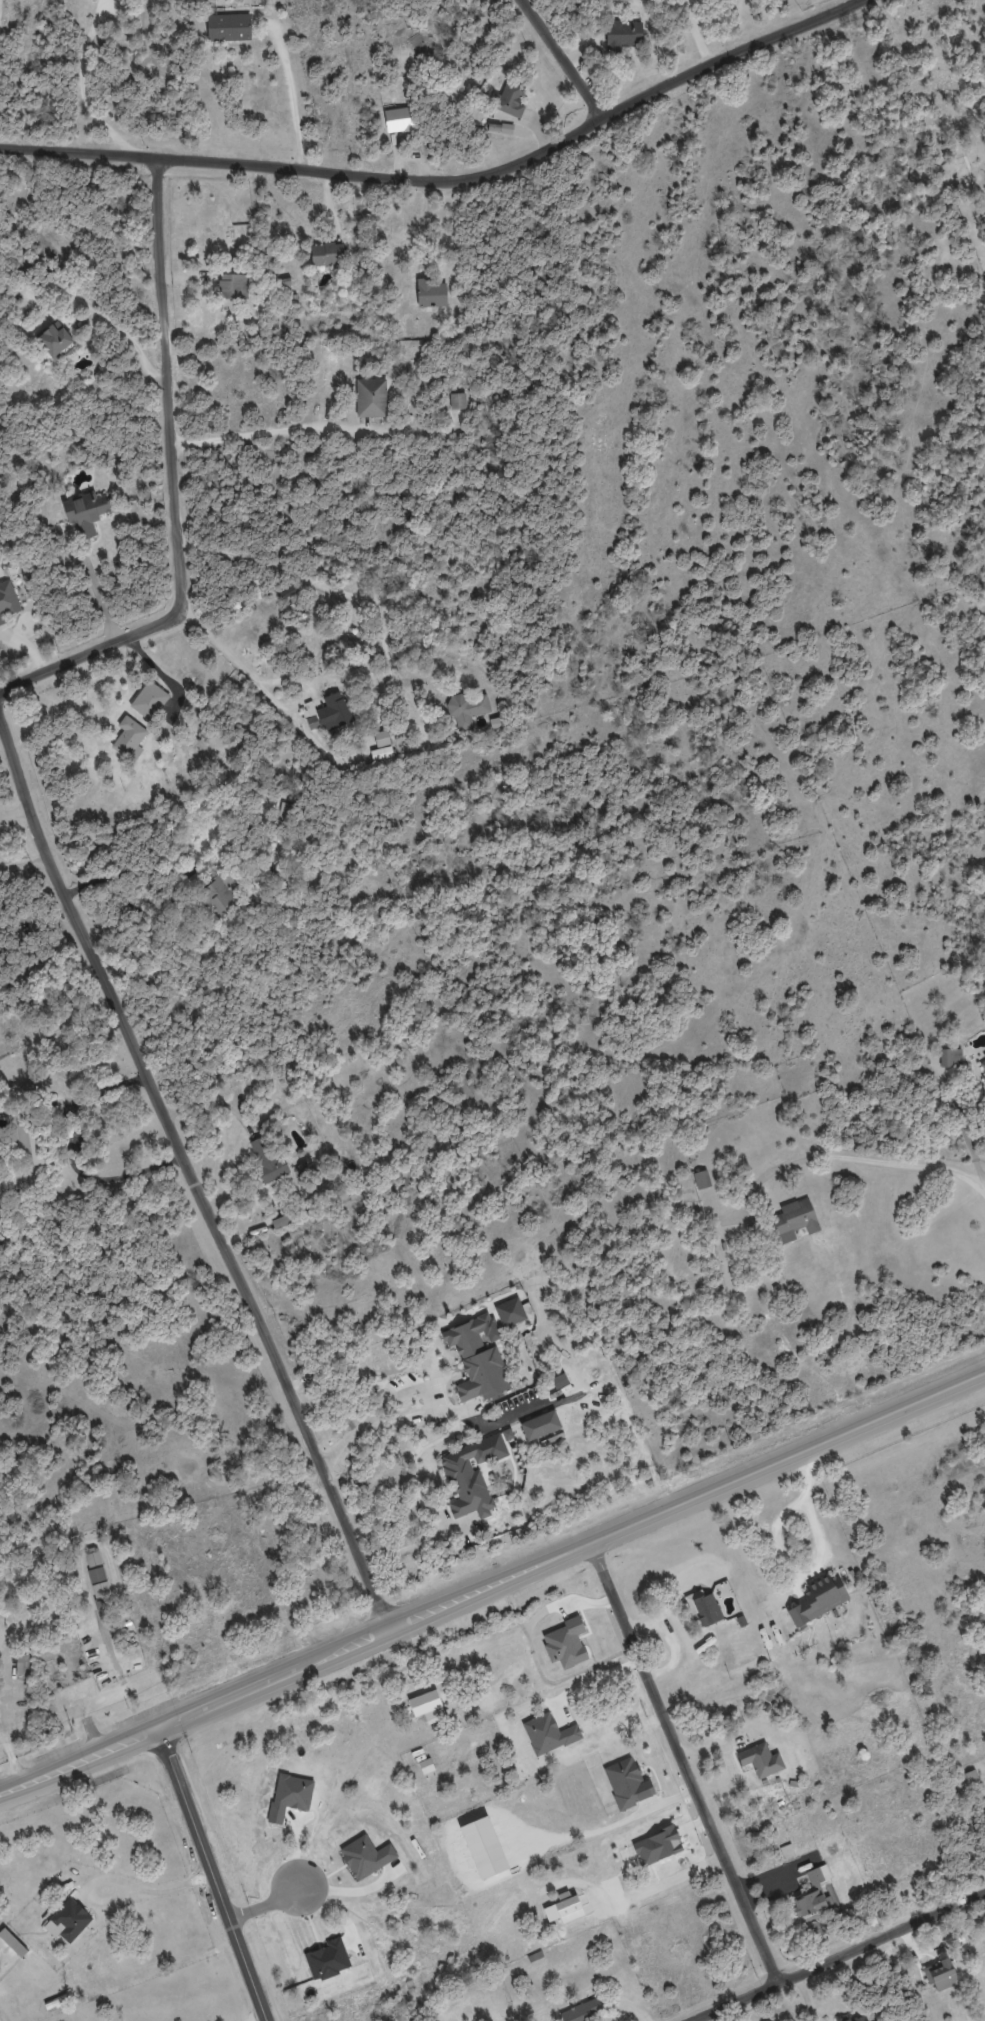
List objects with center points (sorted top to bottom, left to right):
road: (0, 15)
building: (230, 24)
building: (622, 34)
road: (562, 59)
road: (84, 85)
road: (292, 96)
building: (509, 99)
building: (397, 119)
road: (449, 182)
road: (427, 227)
building: (327, 253)
building: (233, 286)
building: (431, 293)
road: (107, 318)
building: (54, 338)
building: (371, 397)
building: (457, 401)
road: (268, 430)
road: (174, 485)
building: (86, 511)
road: (95, 585)
road: (346, 592)
building: (286, 594)
building: (7, 601)
road: (161, 673)
road: (264, 687)
building: (149, 700)
building: (468, 708)
building: (327, 713)
building: (128, 736)
building: (382, 738)
building: (381, 753)
road: (23, 861)
building: (216, 896)
building: (950, 1057)
building: (982, 1063)
building: (983, 1078)
building: (27, 1145)
road: (69, 1154)
road: (863, 1156)
building: (266, 1158)
road: (190, 1176)
building: (701, 1179)
building: (793, 1220)
building: (510, 1312)
building: (477, 1358)
building: (559, 1381)
road: (585, 1388)
road: (406, 1391)
building: (540, 1425)
building: (507, 1433)
building: (471, 1476)
road: (407, 1549)
building: (92, 1556)
road: (814, 1562)
building: (96, 1574)
road: (493, 1585)
building: (100, 1588)
building: (820, 1597)
building: (705, 1605)
building: (568, 1641)
building: (22, 1664)
road: (592, 1674)
building: (427, 1702)
building: (553, 1733)
building: (762, 1761)
road: (683, 1763)
building: (429, 1765)
building: (971, 1776)
building: (630, 1781)
building: (290, 1797)
building: (488, 1847)
building: (656, 1847)
building: (368, 1856)
road: (212, 1874)
road: (160, 1890)
building: (815, 1898)
road: (269, 1903)
building: (569, 1913)
building: (68, 1921)
building: (13, 1942)
building: (536, 1955)
road: (836, 1957)
building: (327, 1958)
building: (941, 1968)
building: (56, 2002)
building: (583, 2010)
building: (861, 2016)
building: (868, 2017)
road: (257, 2018)

